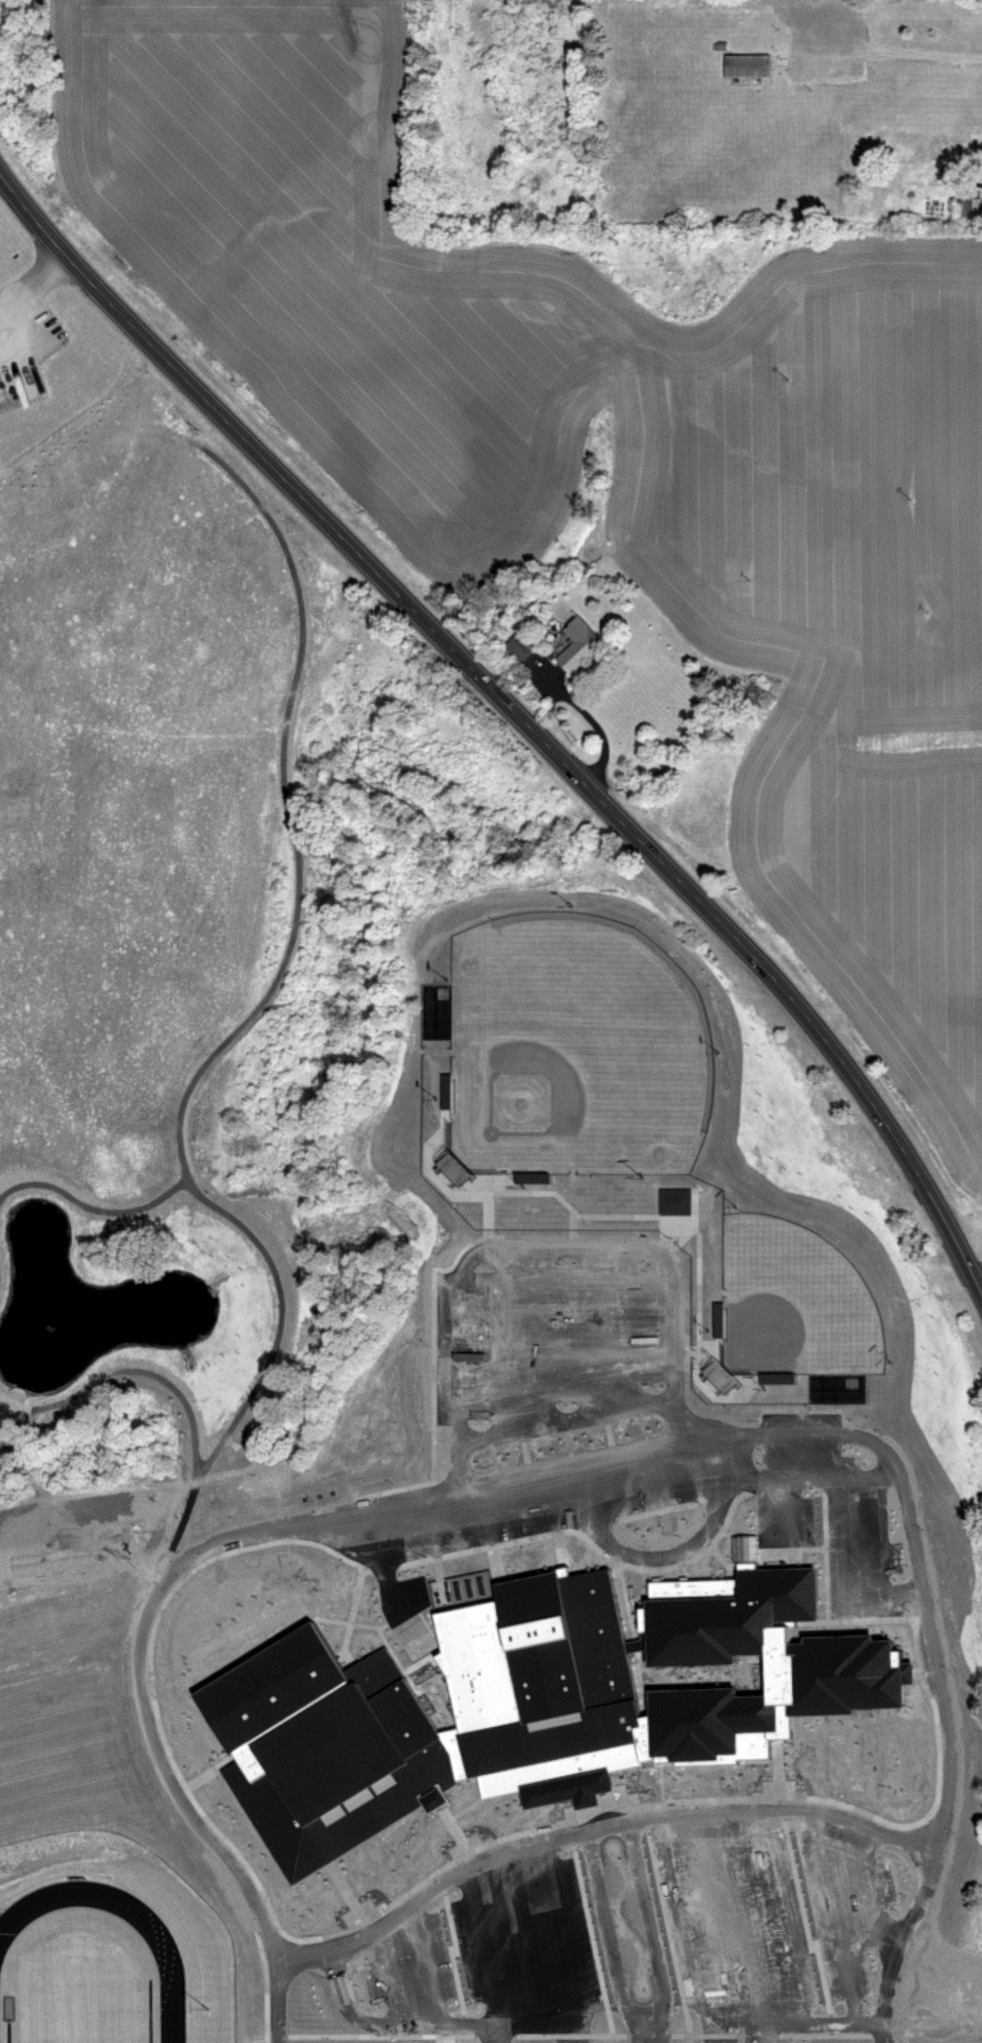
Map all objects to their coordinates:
road: (906, 53)
building: (751, 65)
building: (965, 208)
road: (30, 280)
crop: (616, 449)
building: (522, 646)
building: (581, 647)
road: (519, 718)
road: (594, 724)
road: (270, 991)
park: (574, 1052)
road: (430, 1170)
road: (488, 1195)
road: (87, 1205)
road: (573, 1232)
road: (540, 1249)
park: (792, 1300)
parking lot: (556, 1340)
road: (182, 1401)
road: (566, 1418)
road: (609, 1427)
road: (820, 1428)
road: (520, 1446)
road: (235, 1458)
building: (955, 1471)
road: (661, 1508)
road: (446, 1540)
road: (561, 1549)
road: (762, 1550)
road: (719, 1557)
road: (623, 1560)
road: (494, 1561)
road: (685, 1568)
building: (979, 1571)
road: (656, 1573)
road: (436, 1585)
road: (384, 1638)
building: (536, 1699)
building: (979, 1738)
park: (55, 1764)
road: (210, 1770)
road: (776, 1775)
road: (659, 1784)
road: (633, 1793)
road: (712, 1800)
road: (609, 1822)
road: (445, 1836)
parking lot: (845, 1899)
road: (342, 1905)
parking lot: (733, 1912)
road: (805, 1918)
road: (668, 1923)
road: (591, 1933)
parking lot: (524, 1939)
road: (454, 1954)
track: (165, 1961)
parking lot: (411, 1969)
park: (76, 2000)
road: (882, 2007)
road: (399, 2025)
road: (445, 2034)
road: (623, 2035)
road: (378, 2036)
road: (278, 2041)

